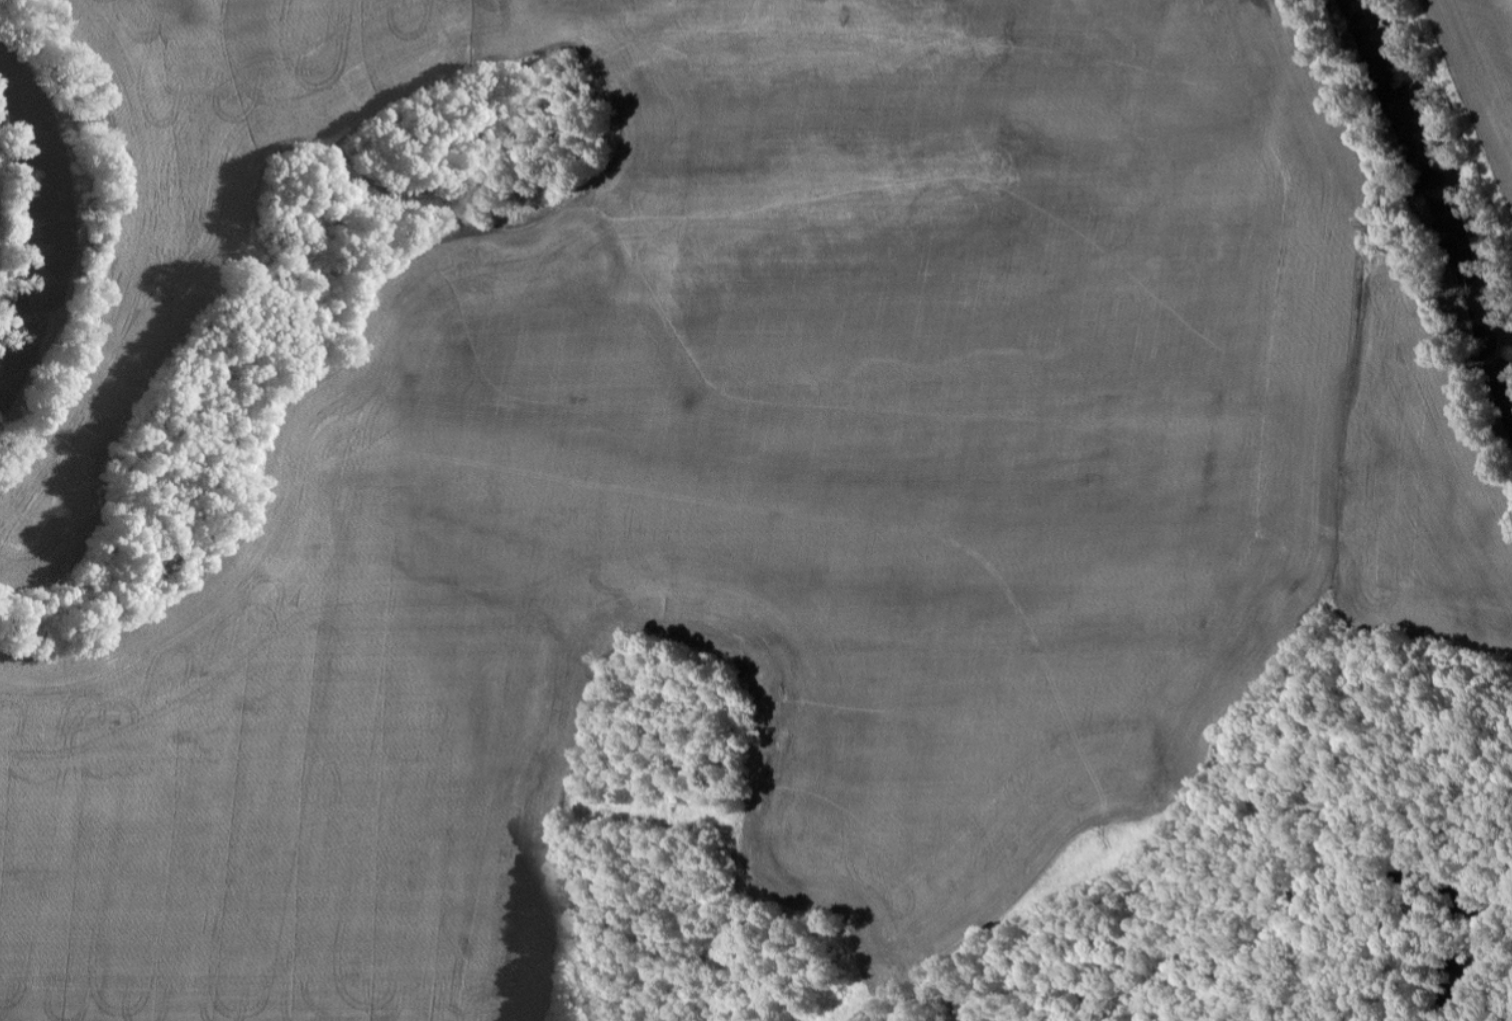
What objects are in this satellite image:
river: (1445, 169)
river: (65, 224)
road: (979, 949)

